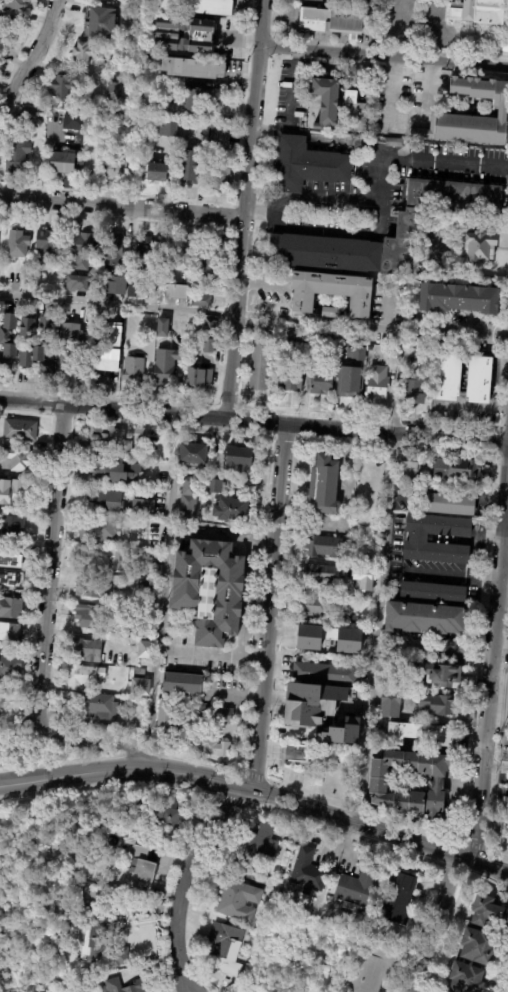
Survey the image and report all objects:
building: (321, 0)
building: (137, 3)
building: (12, 4)
building: (195, 5)
building: (478, 11)
building: (332, 20)
building: (101, 23)
building: (183, 32)
road: (236, 38)
building: (83, 54)
road: (32, 56)
road: (382, 57)
road: (254, 65)
building: (190, 67)
building: (61, 87)
building: (114, 91)
building: (146, 91)
road: (391, 93)
building: (198, 99)
building: (324, 99)
building: (141, 109)
building: (354, 110)
building: (502, 111)
building: (27, 113)
road: (201, 118)
building: (73, 121)
building: (167, 128)
building: (393, 142)
building: (96, 146)
road: (378, 151)
building: (15, 156)
building: (218, 162)
building: (62, 163)
building: (307, 164)
building: (188, 165)
building: (117, 169)
building: (154, 170)
road: (246, 174)
road: (333, 201)
road: (122, 207)
building: (405, 227)
building: (16, 244)
building: (171, 244)
building: (47, 246)
building: (478, 246)
building: (78, 251)
building: (111, 251)
building: (323, 252)
building: (144, 254)
building: (180, 257)
building: (210, 264)
building: (75, 283)
building: (115, 284)
building: (133, 289)
building: (175, 291)
building: (330, 291)
building: (199, 300)
building: (456, 301)
building: (330, 312)
road: (234, 318)
building: (148, 323)
building: (208, 325)
building: (161, 327)
building: (26, 328)
building: (258, 328)
building: (296, 335)
building: (321, 338)
building: (114, 342)
building: (7, 343)
building: (207, 345)
building: (70, 346)
building: (39, 350)
building: (257, 363)
building: (164, 365)
building: (131, 369)
building: (351, 374)
building: (290, 376)
building: (197, 377)
building: (448, 377)
road: (396, 378)
building: (479, 379)
building: (320, 380)
building: (376, 385)
building: (413, 388)
road: (59, 419)
road: (254, 422)
building: (18, 429)
road: (61, 429)
road: (45, 433)
building: (139, 434)
building: (109, 439)
road: (495, 442)
building: (191, 454)
road: (496, 456)
road: (502, 457)
building: (237, 458)
building: (15, 459)
road: (67, 459)
building: (407, 464)
road: (58, 467)
building: (457, 468)
building: (101, 470)
building: (140, 474)
building: (367, 474)
building: (323, 483)
building: (213, 485)
building: (13, 489)
building: (104, 497)
building: (187, 499)
building: (447, 503)
building: (141, 506)
building: (230, 508)
building: (10, 524)
building: (96, 528)
road: (220, 535)
building: (416, 537)
building: (322, 546)
building: (104, 555)
road: (500, 556)
building: (6, 566)
road: (503, 572)
building: (318, 574)
road: (451, 574)
building: (362, 578)
road: (270, 583)
building: (92, 587)
building: (143, 588)
building: (209, 588)
building: (432, 591)
road: (160, 593)
building: (313, 605)
building: (10, 607)
building: (90, 615)
building: (425, 617)
building: (352, 620)
building: (10, 631)
building: (308, 643)
road: (479, 647)
building: (85, 649)
building: (144, 649)
road: (210, 650)
road: (42, 664)
building: (9, 669)
building: (137, 671)
building: (325, 672)
building: (429, 673)
building: (84, 675)
building: (181, 683)
building: (138, 686)
road: (273, 694)
building: (311, 703)
building: (436, 704)
building: (388, 705)
building: (99, 706)
building: (214, 714)
road: (246, 717)
road: (271, 718)
building: (163, 719)
building: (342, 732)
building: (416, 733)
building: (215, 747)
road: (269, 750)
road: (151, 752)
road: (135, 753)
road: (155, 753)
road: (122, 754)
building: (303, 755)
road: (60, 760)
road: (196, 760)
road: (253, 764)
road: (482, 766)
road: (495, 768)
road: (239, 772)
road: (239, 773)
road: (250, 775)
road: (263, 779)
building: (378, 783)
road: (104, 789)
road: (258, 792)
road: (210, 797)
road: (230, 798)
road: (210, 803)
road: (252, 806)
road: (360, 809)
building: (167, 813)
building: (503, 819)
building: (283, 823)
road: (348, 832)
road: (463, 842)
road: (463, 842)
road: (473, 845)
building: (260, 847)
road: (484, 847)
road: (497, 849)
building: (144, 867)
road: (455, 869)
building: (310, 870)
road: (468, 872)
building: (337, 879)
road: (490, 879)
road: (189, 882)
building: (291, 886)
building: (357, 888)
building: (398, 898)
building: (239, 901)
building: (489, 910)
building: (106, 918)
road: (436, 924)
building: (349, 927)
building: (0, 933)
building: (0, 935)
building: (480, 945)
building: (227, 948)
building: (106, 953)
building: (375, 969)
building: (467, 978)
building: (113, 984)

